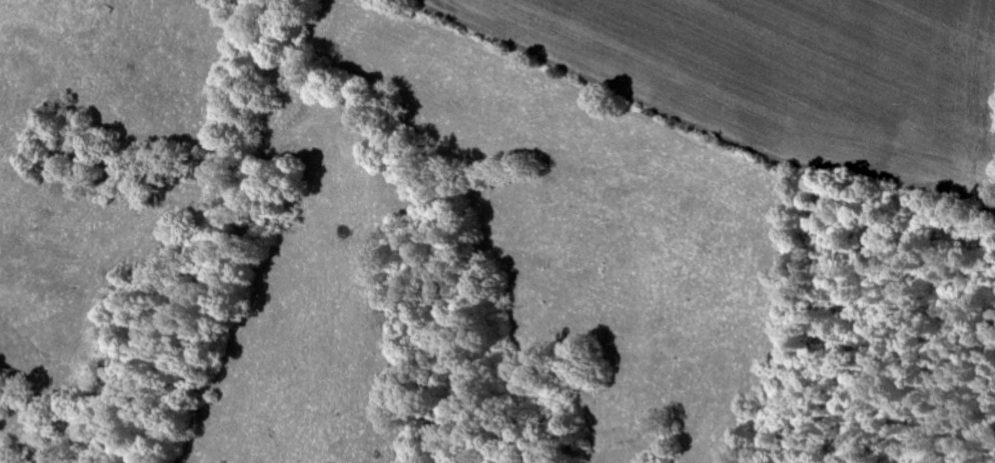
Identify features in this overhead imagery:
building: (0, 412)

